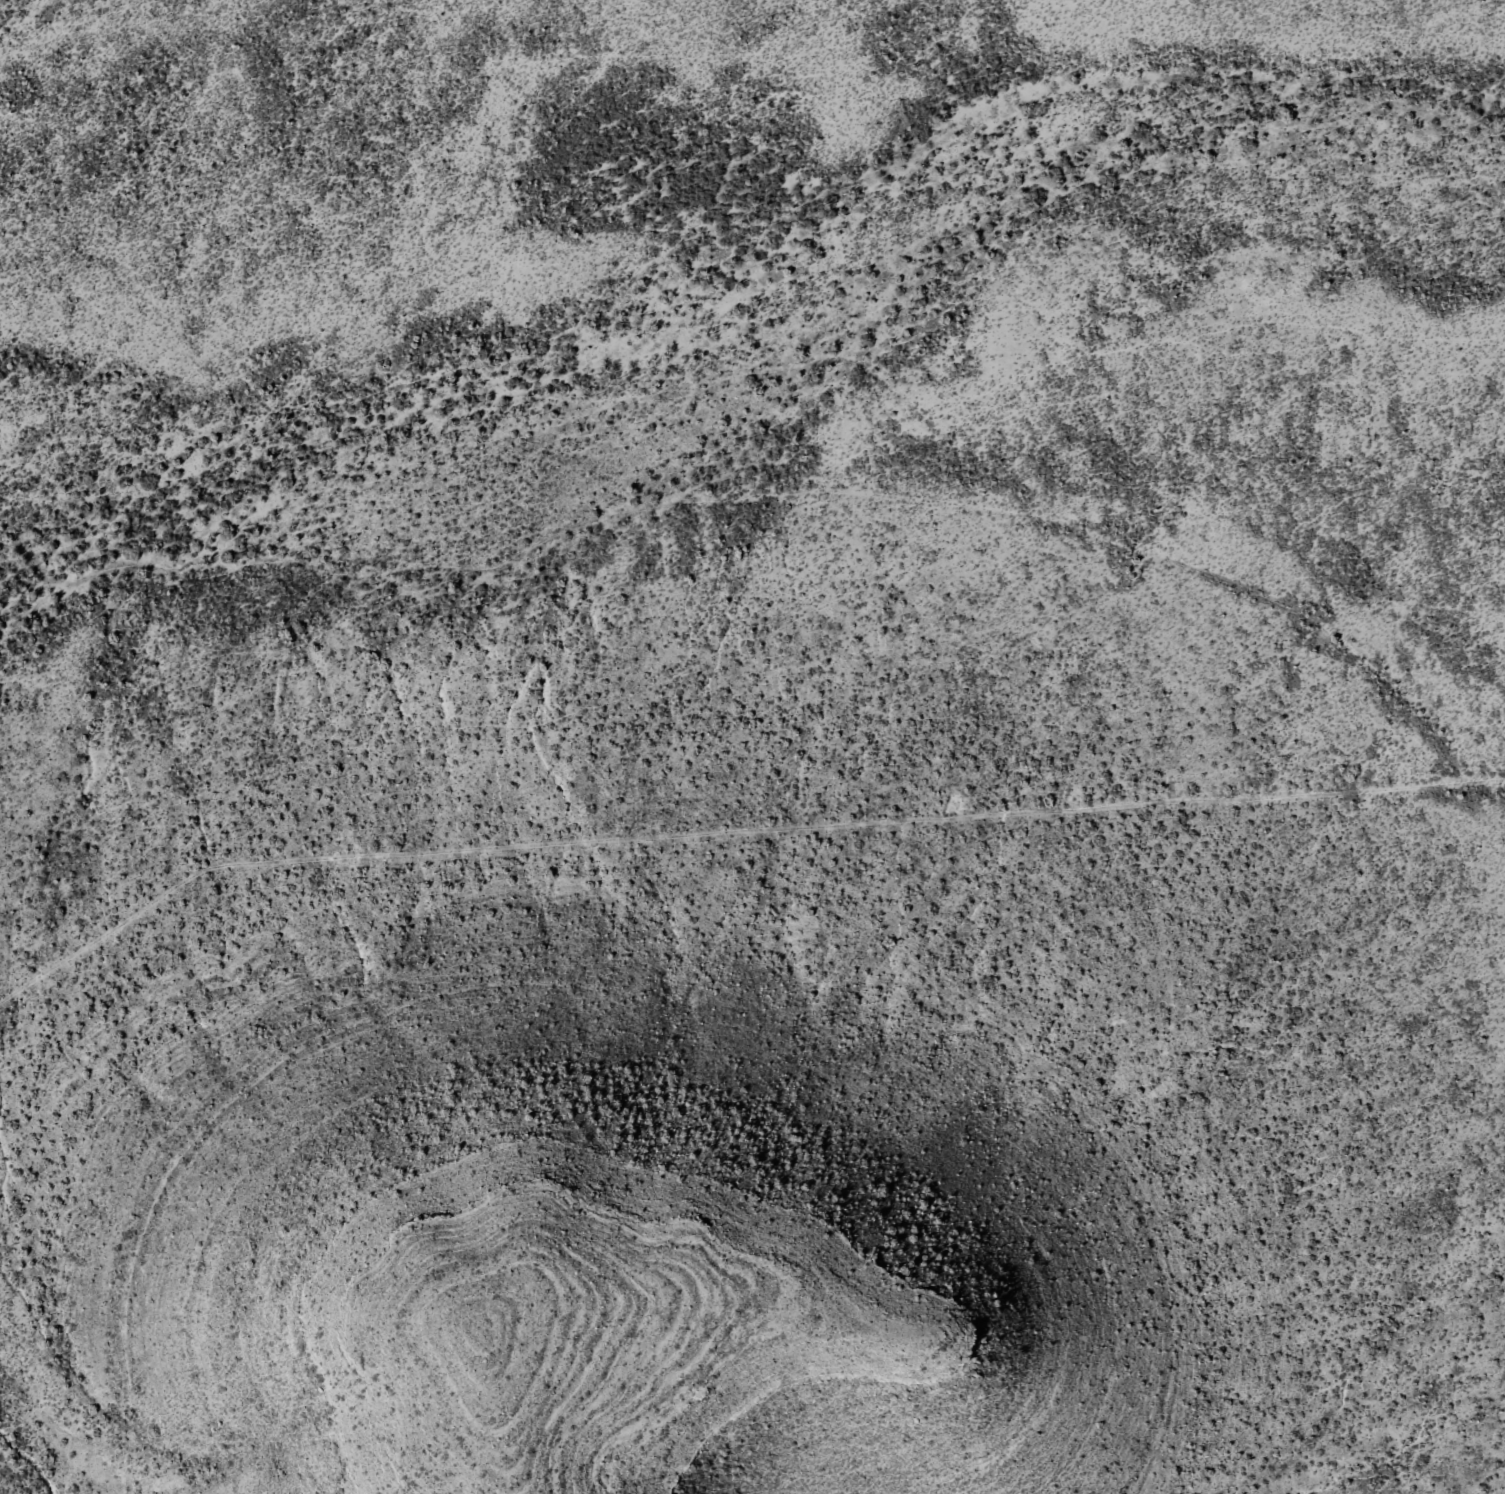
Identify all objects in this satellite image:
road: (787, 503)

